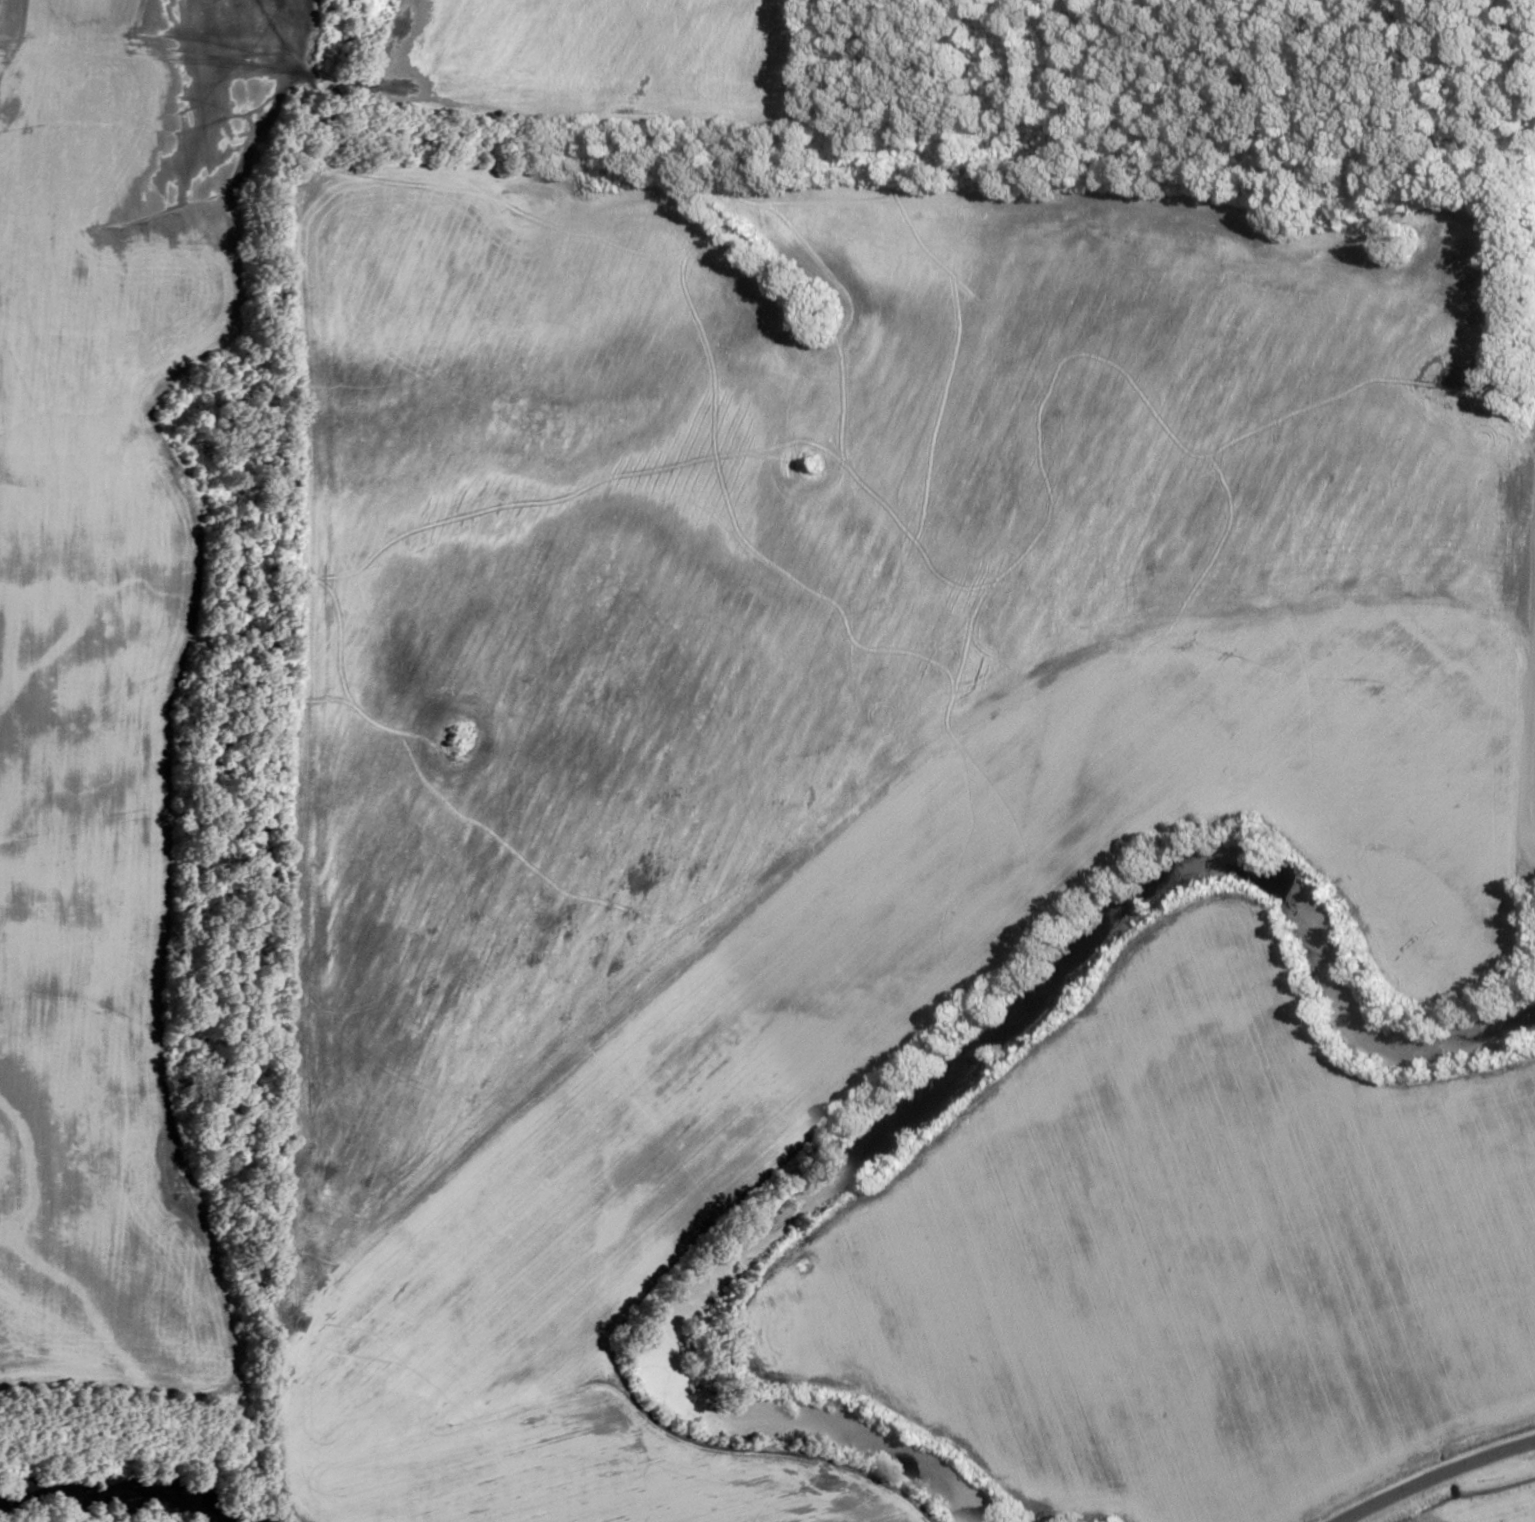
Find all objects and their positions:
road: (439, 1441)
road: (1534, 1449)
road: (1432, 1475)

